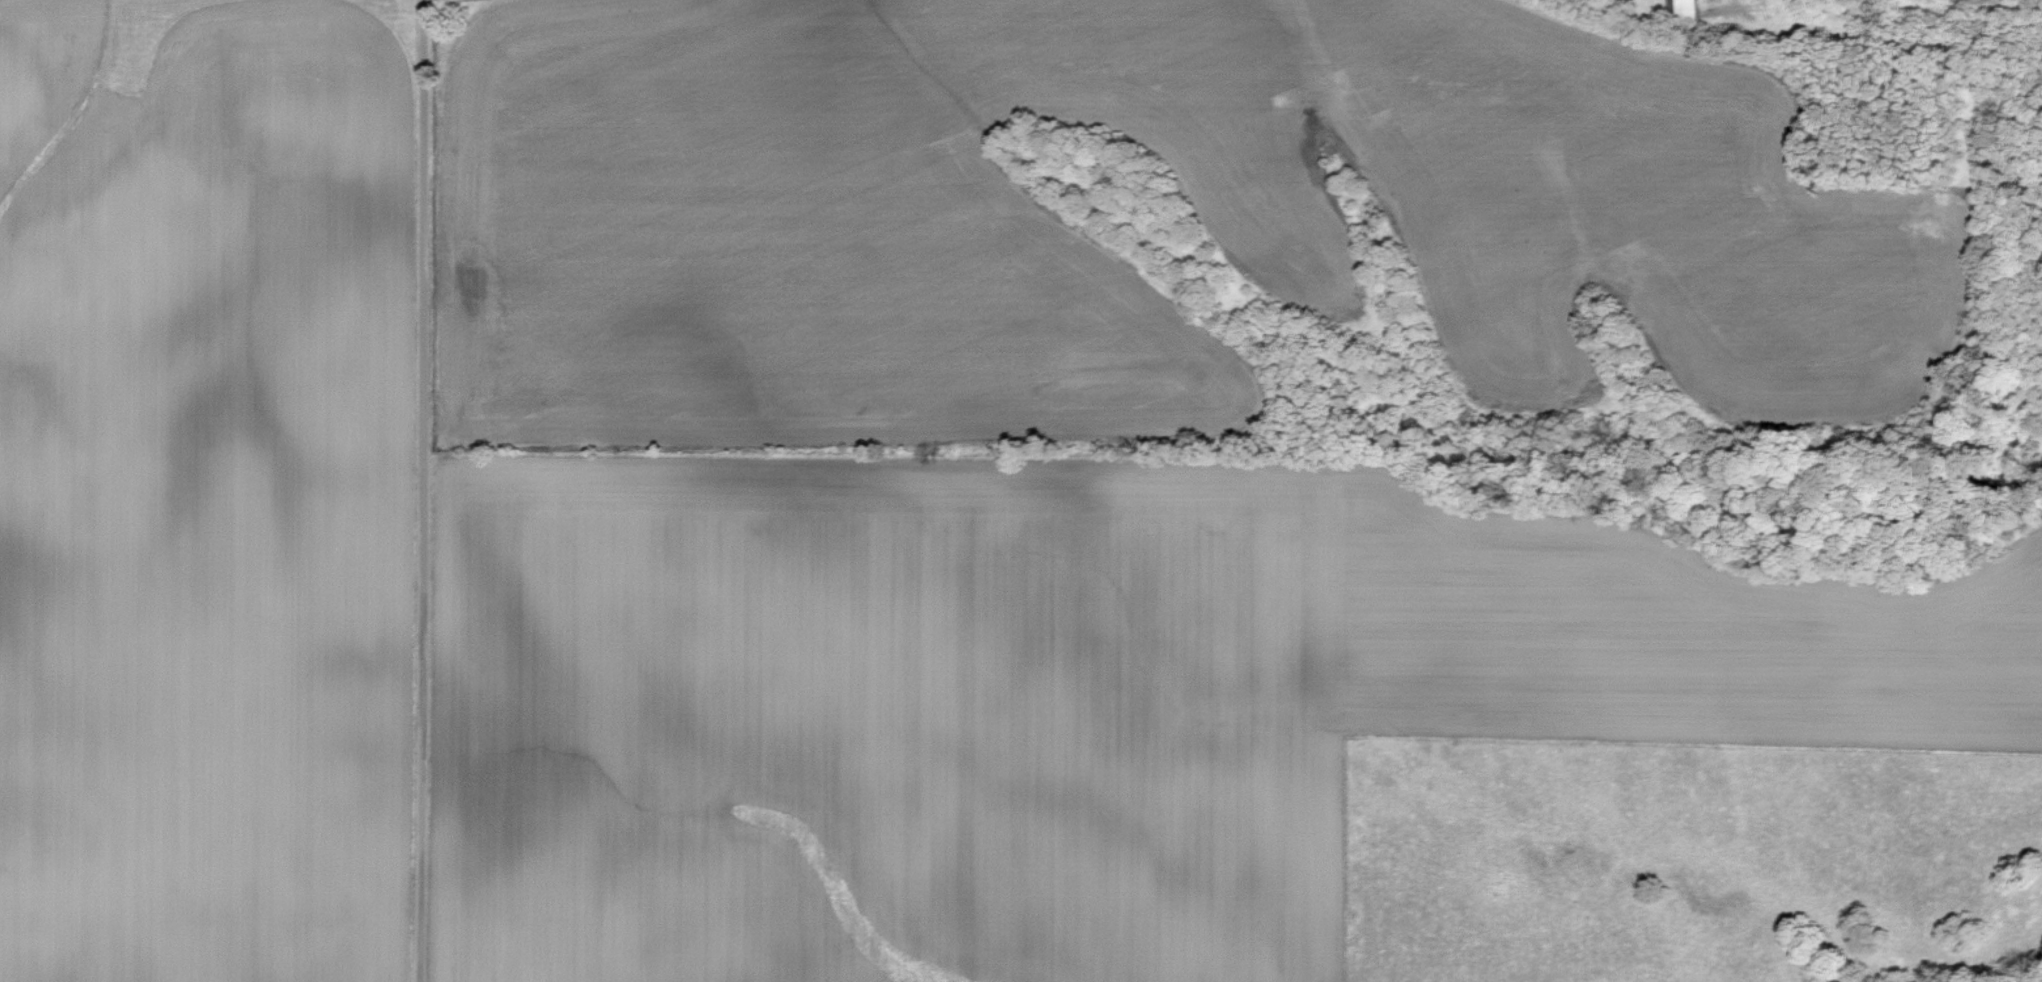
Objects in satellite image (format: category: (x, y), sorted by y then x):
building: (1685, 9)
road: (420, 491)

